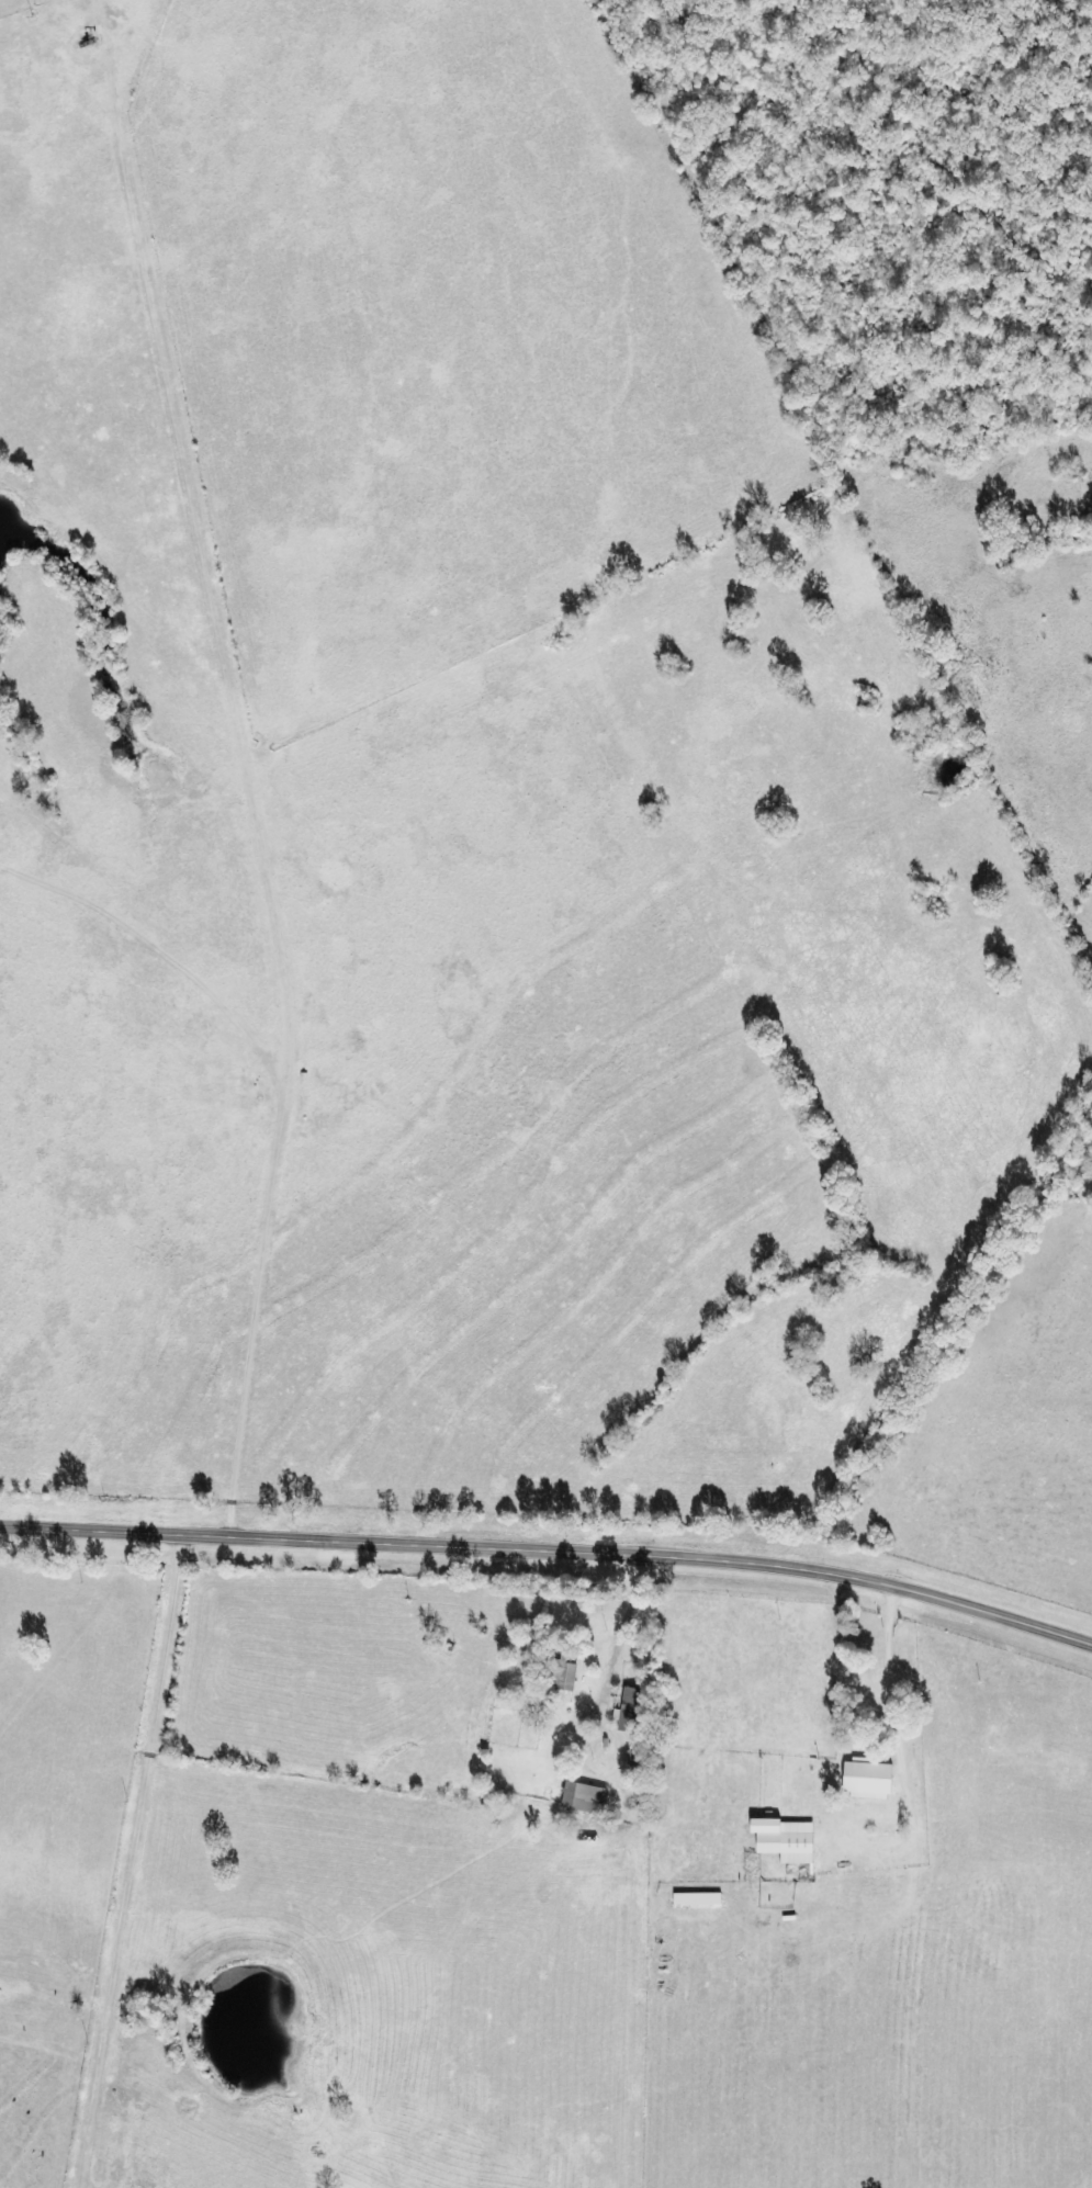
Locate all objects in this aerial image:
road: (856, 474)
road: (965, 1361)
road: (551, 1542)
building: (570, 1669)
building: (633, 1708)
building: (871, 1777)
building: (587, 1797)
building: (790, 1839)
road: (127, 1852)

